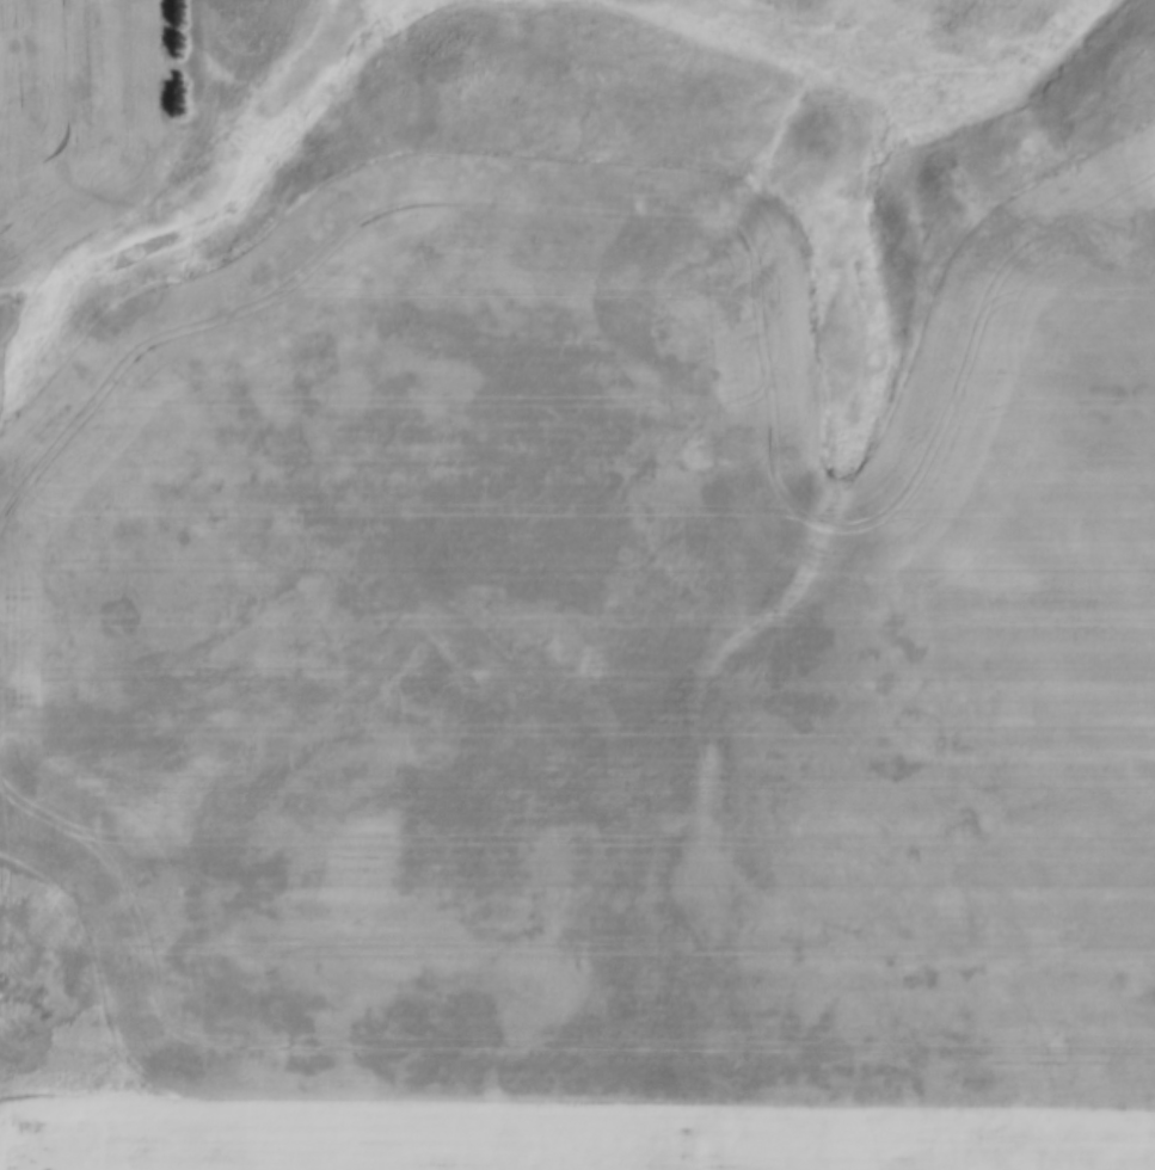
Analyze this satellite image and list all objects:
road: (577, 1098)

